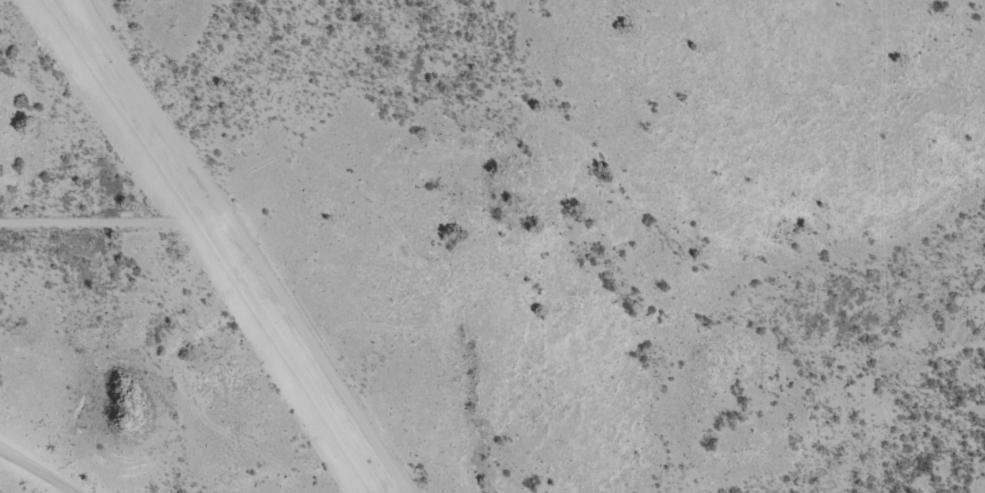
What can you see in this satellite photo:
road: (276, 254)

